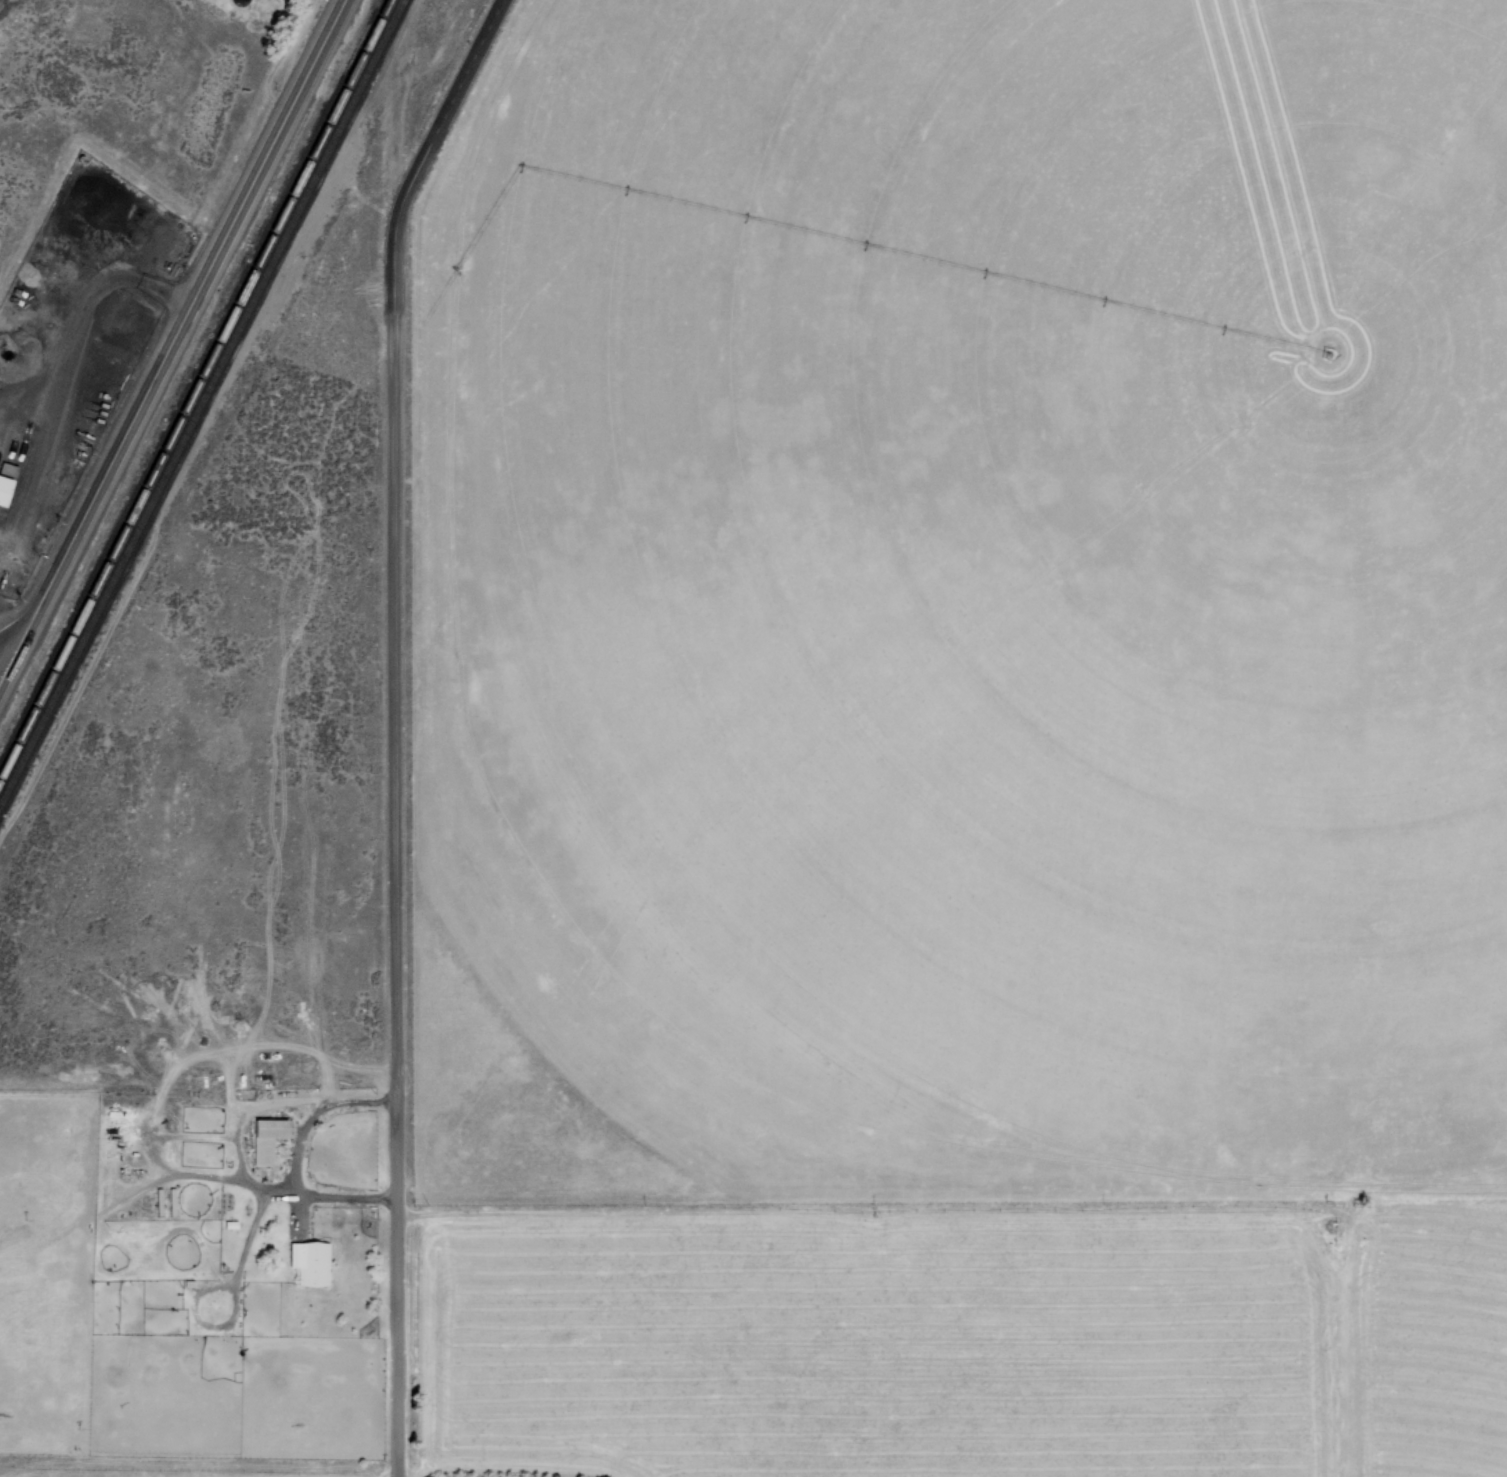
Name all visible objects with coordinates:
road: (427, 151)
road: (200, 296)
railway: (192, 382)
railway: (197, 405)
building: (5, 491)
road: (26, 626)
road: (12, 636)
road: (26, 643)
road: (402, 893)
building: (266, 1136)
road: (306, 1162)
road: (200, 1177)
road: (147, 1195)
building: (173, 1202)
building: (312, 1263)
road: (242, 1295)

